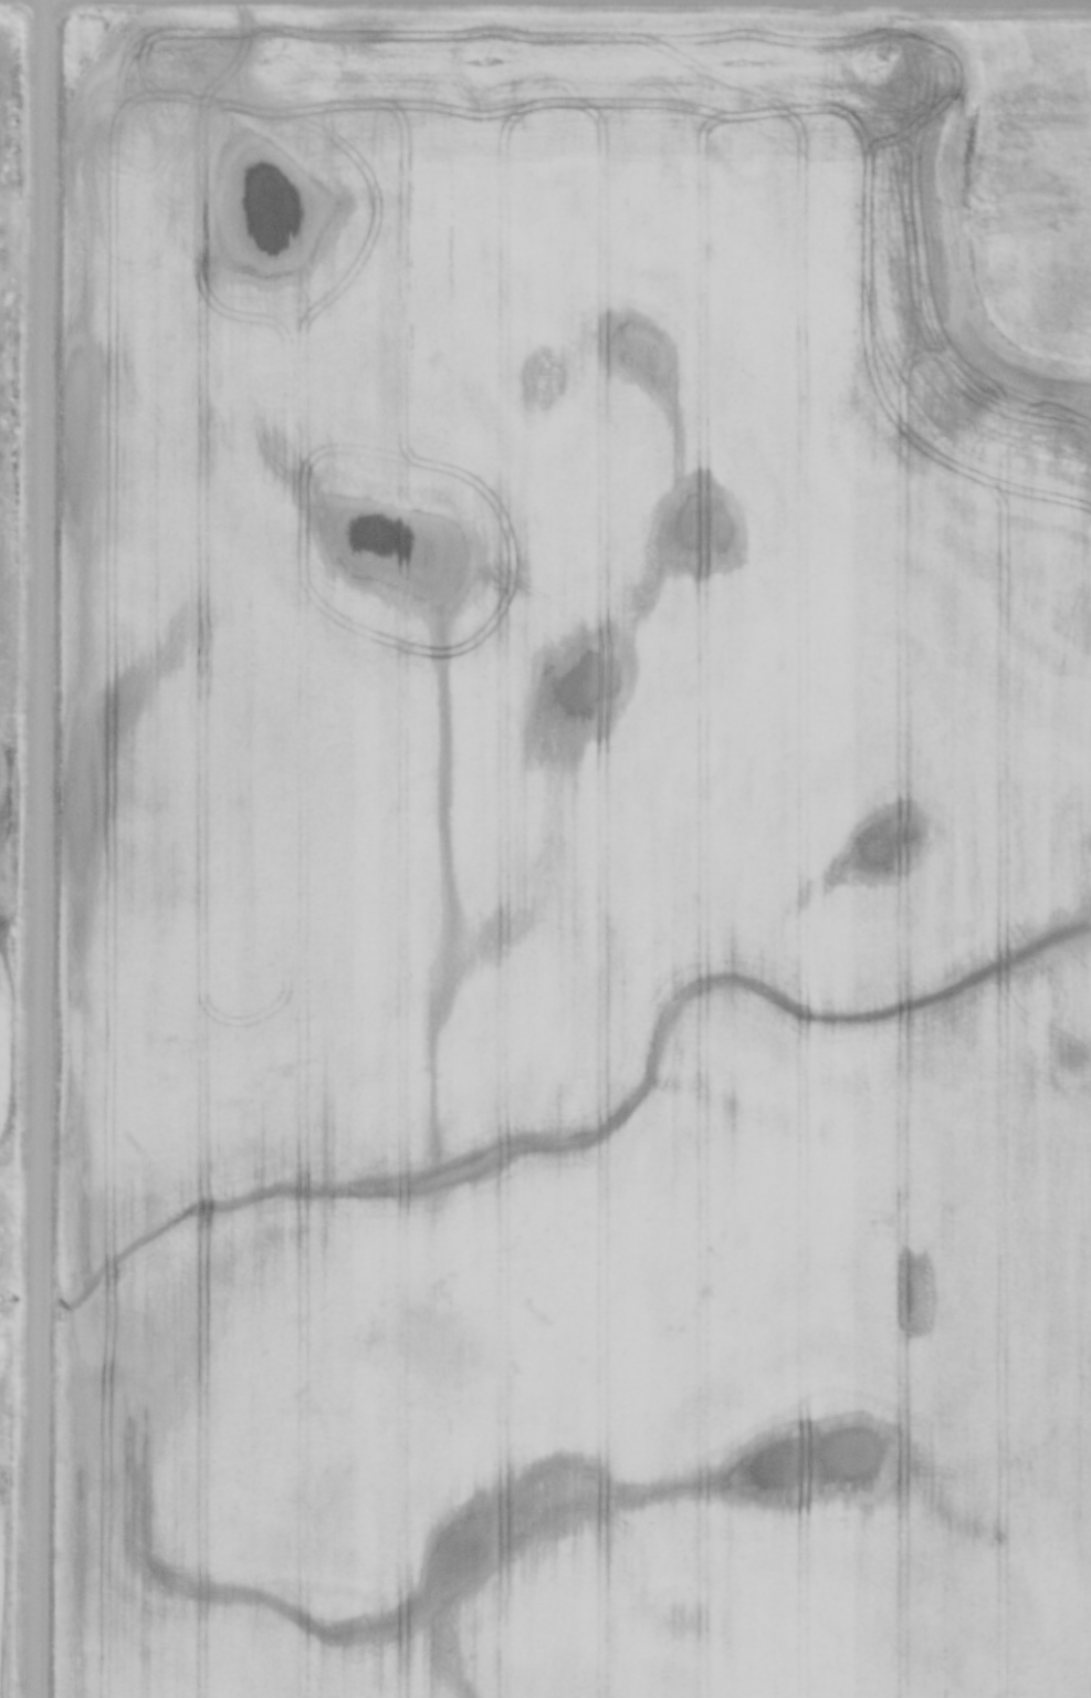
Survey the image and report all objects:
road: (42, 848)

